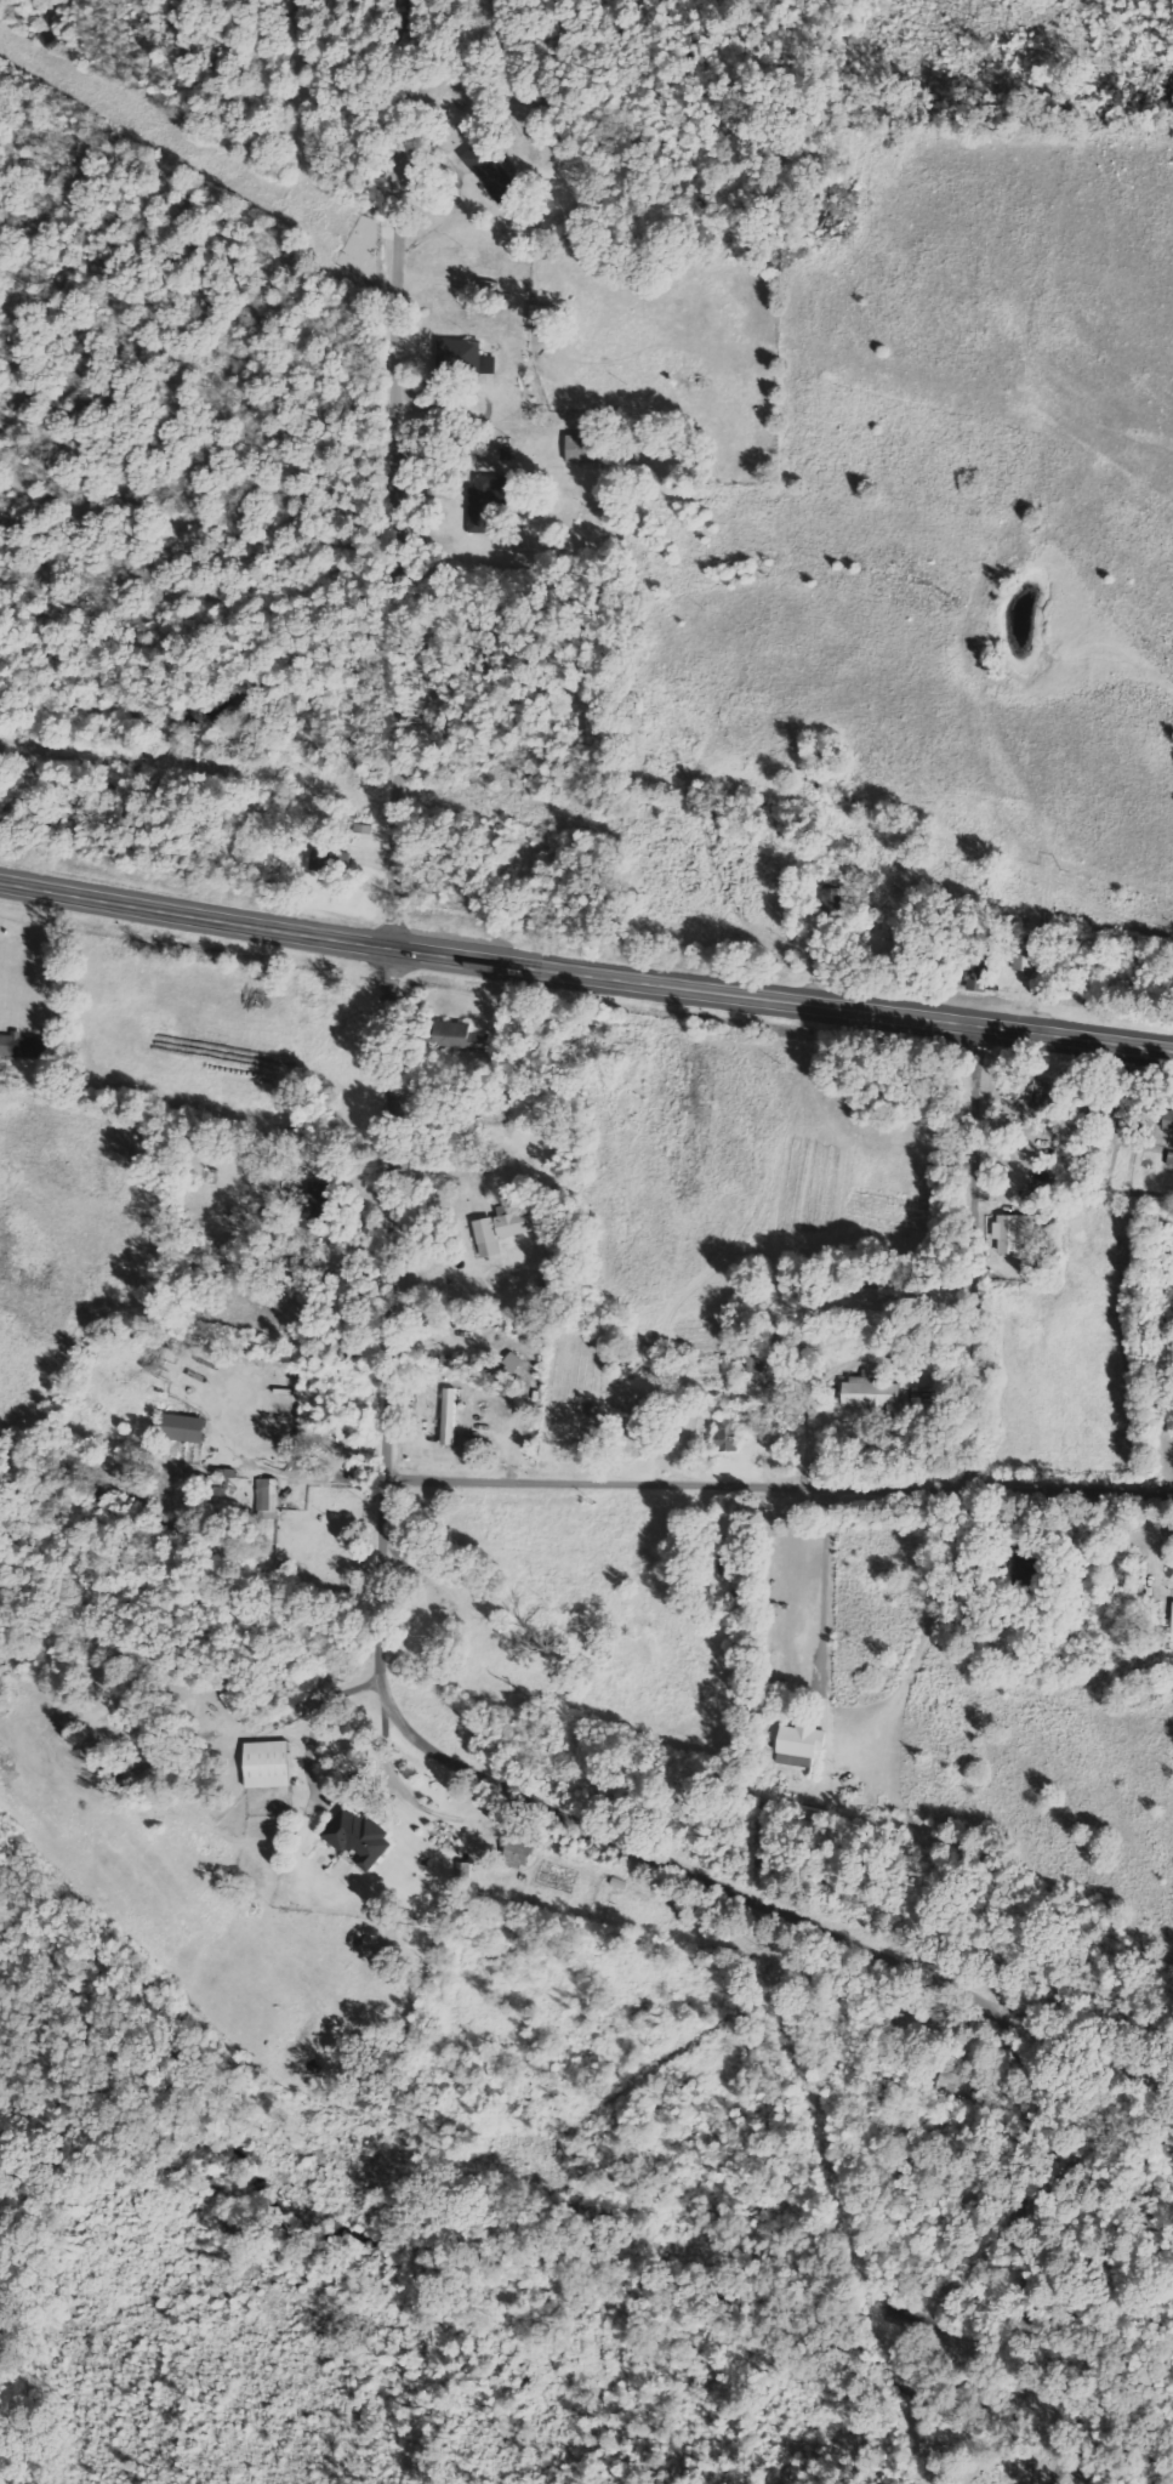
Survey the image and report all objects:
building: (494, 174)
building: (545, 313)
building: (463, 357)
building: (585, 447)
road: (398, 477)
building: (489, 502)
building: (330, 860)
building: (835, 900)
building: (1024, 954)
building: (979, 972)
road: (583, 974)
building: (462, 1038)
building: (27, 1045)
building: (1168, 1119)
building: (317, 1205)
building: (503, 1227)
building: (1015, 1233)
road: (967, 1255)
building: (748, 1351)
building: (873, 1394)
building: (450, 1415)
building: (184, 1427)
road: (779, 1488)
building: (267, 1494)
building: (730, 1557)
building: (1029, 1565)
building: (1172, 1620)
building: (803, 1738)
building: (796, 1760)
building: (269, 1763)
road: (530, 1813)
building: (359, 1836)
building: (519, 1852)
building: (463, 1872)
building: (952, 2084)

